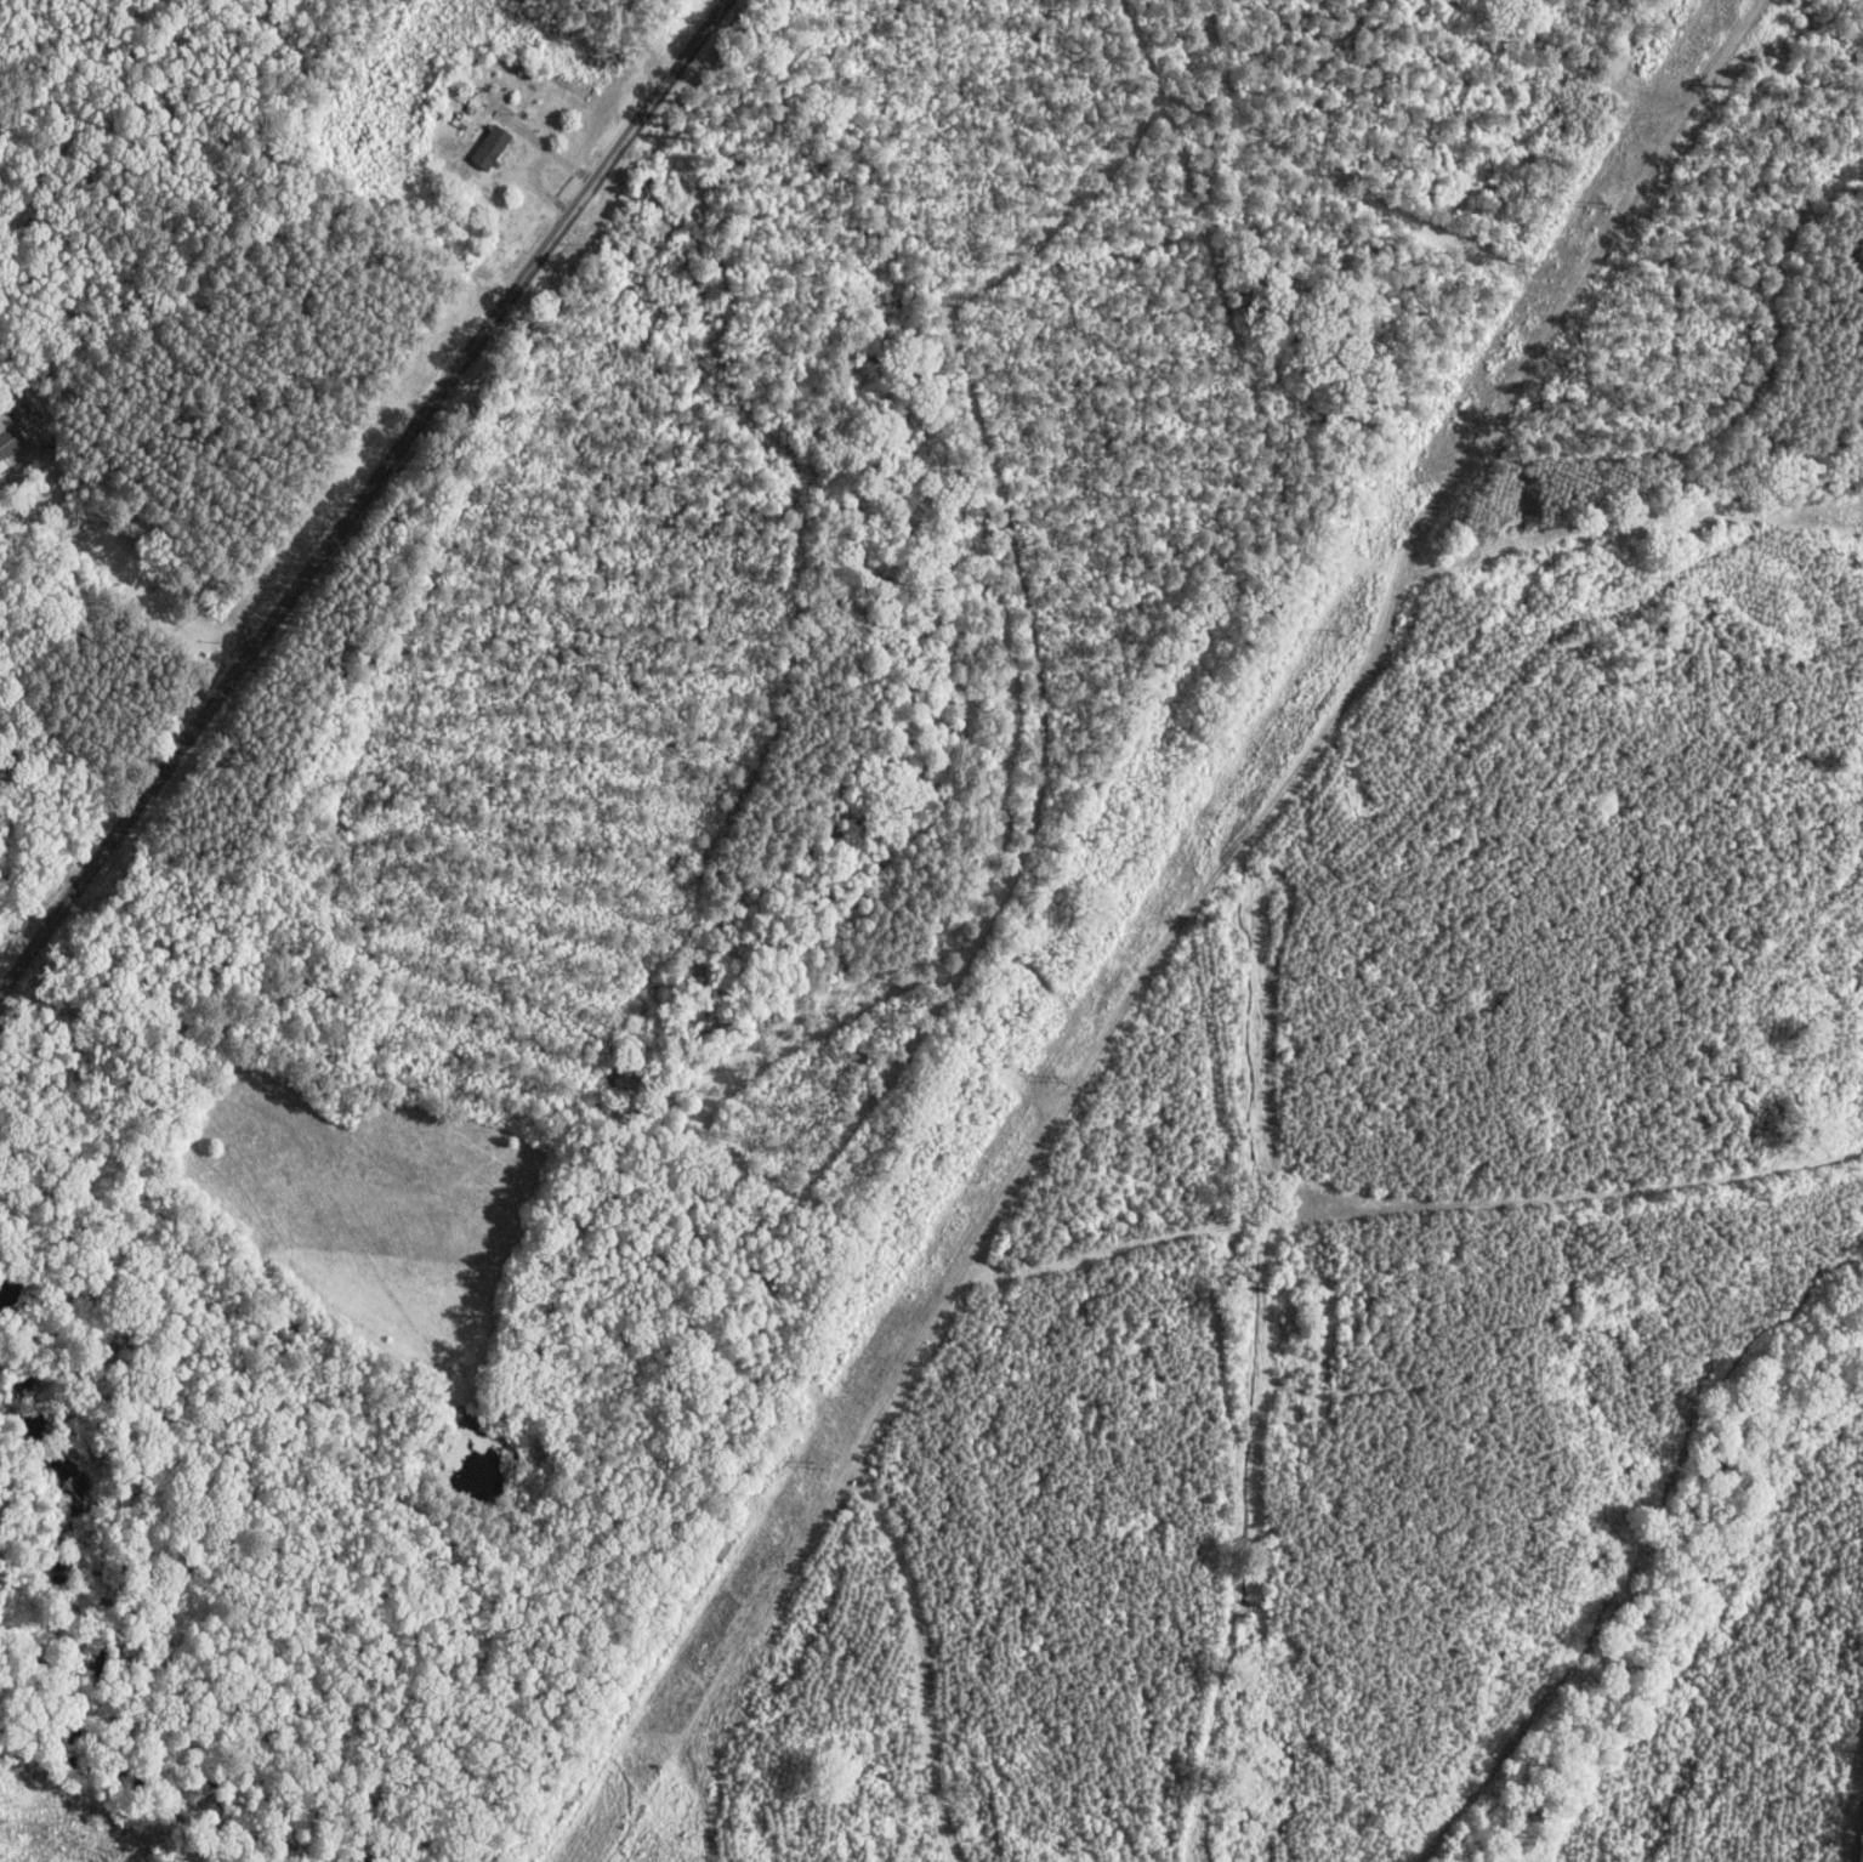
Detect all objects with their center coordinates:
building: (494, 149)
building: (2, 455)
road: (357, 481)

